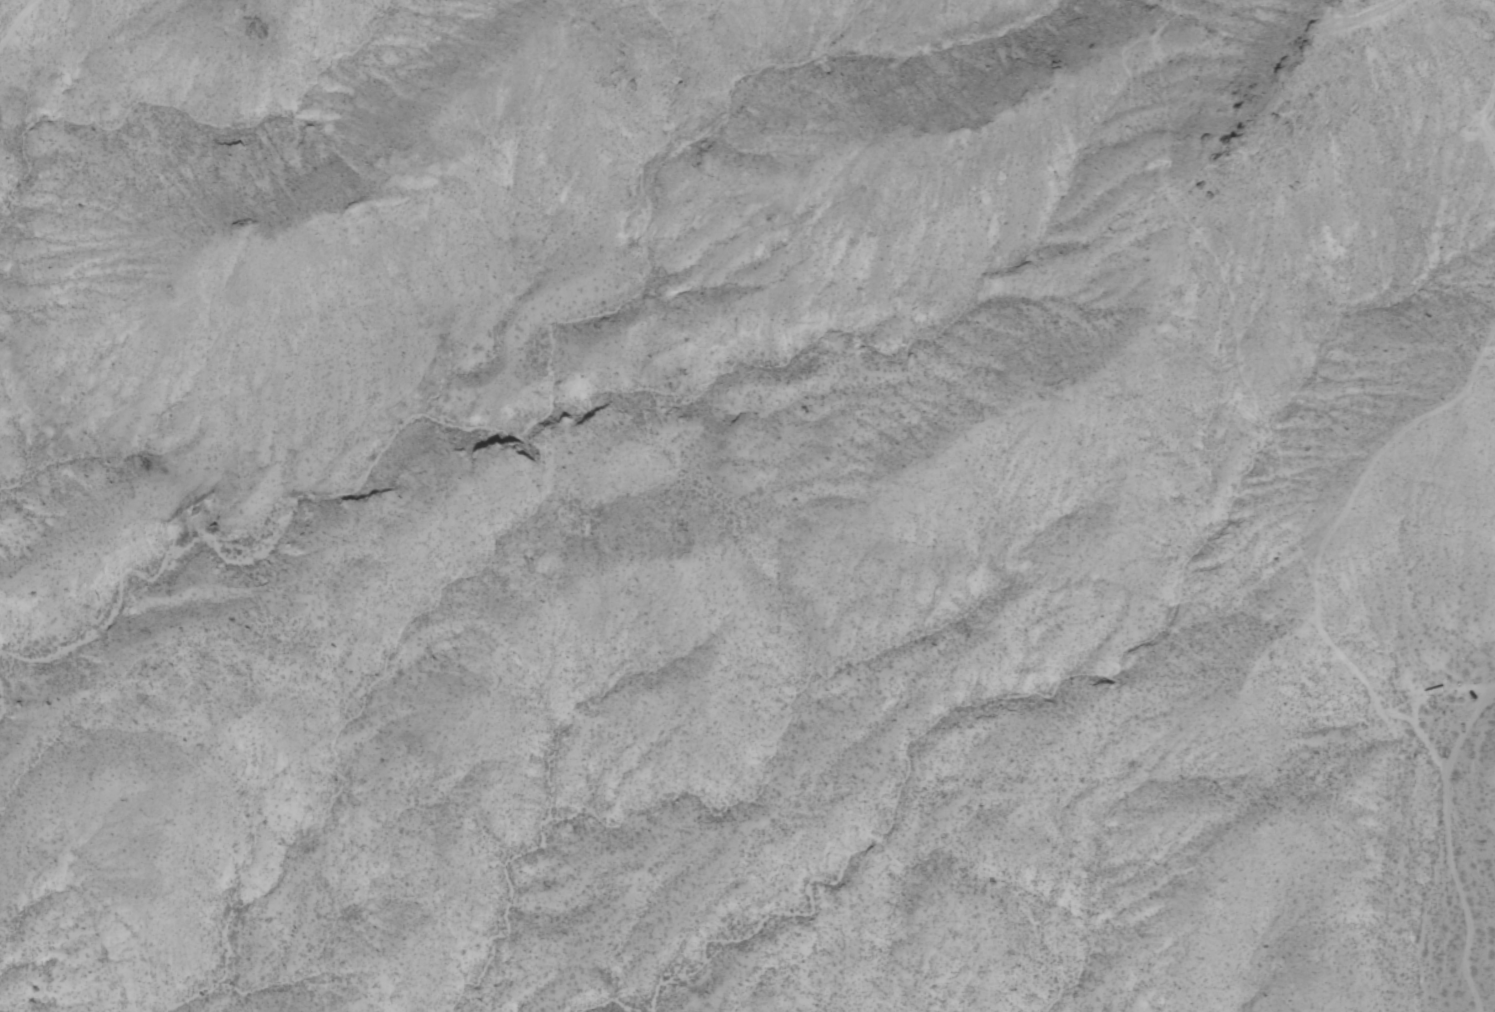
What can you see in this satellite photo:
road: (1390, 7)
road: (22, 18)
road: (1428, 624)
road: (1447, 909)

